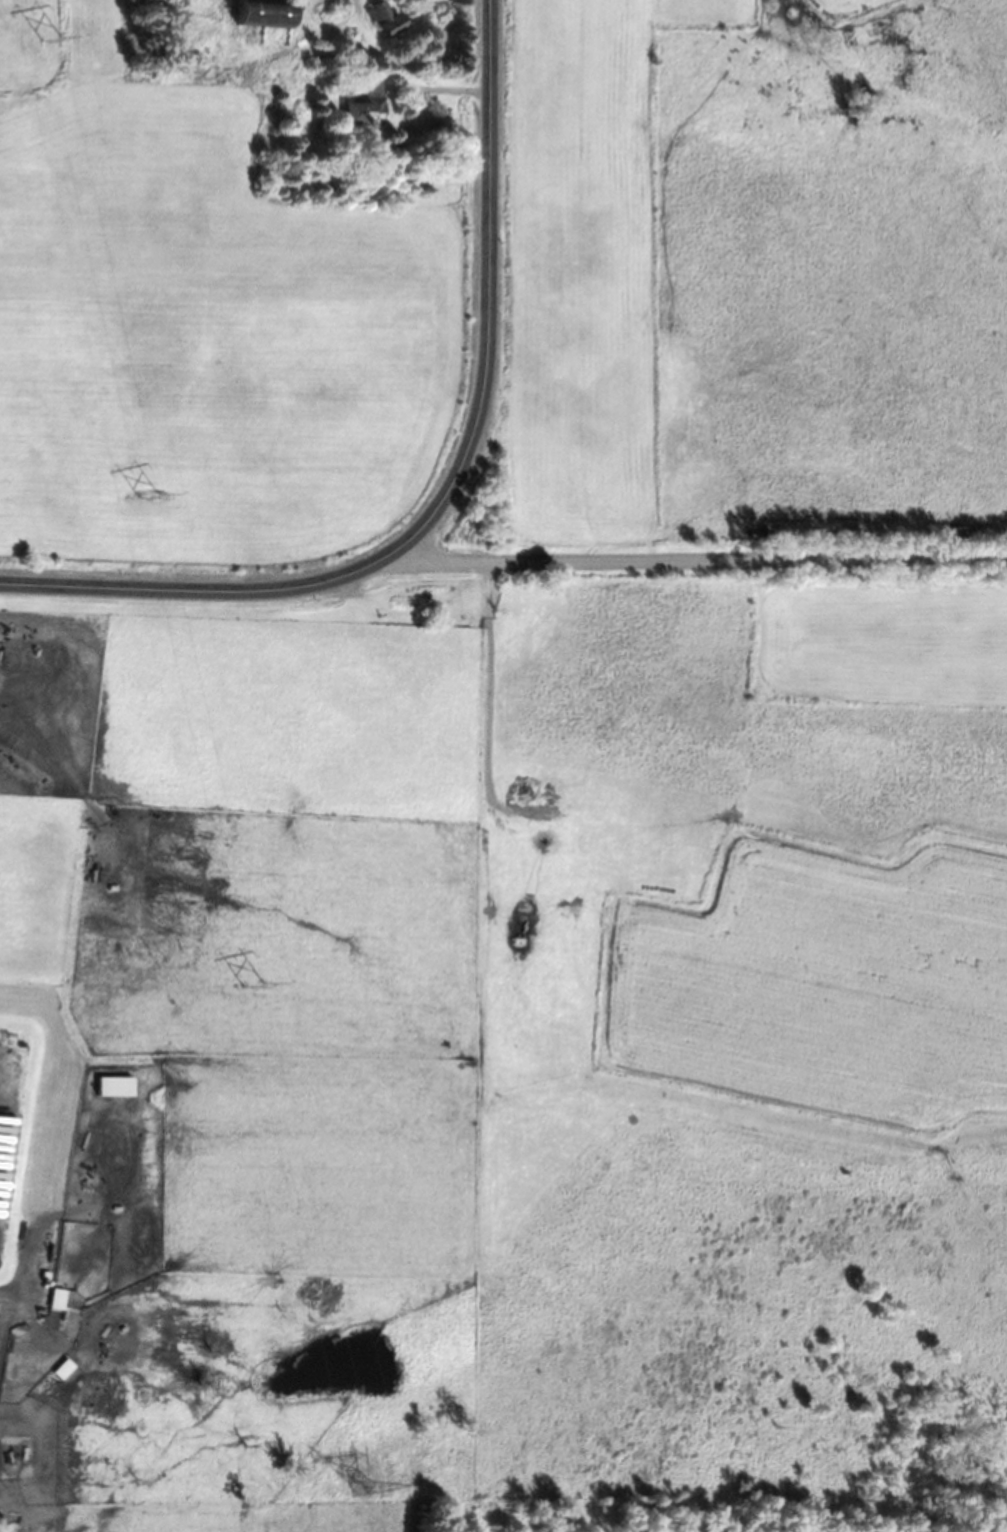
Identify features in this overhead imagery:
building: (387, 20)
power tower: (50, 38)
building: (367, 105)
road: (454, 484)
power tower: (149, 495)
road: (705, 554)
power tower: (254, 985)
building: (119, 1085)
building: (59, 1299)
power tower: (362, 1488)

